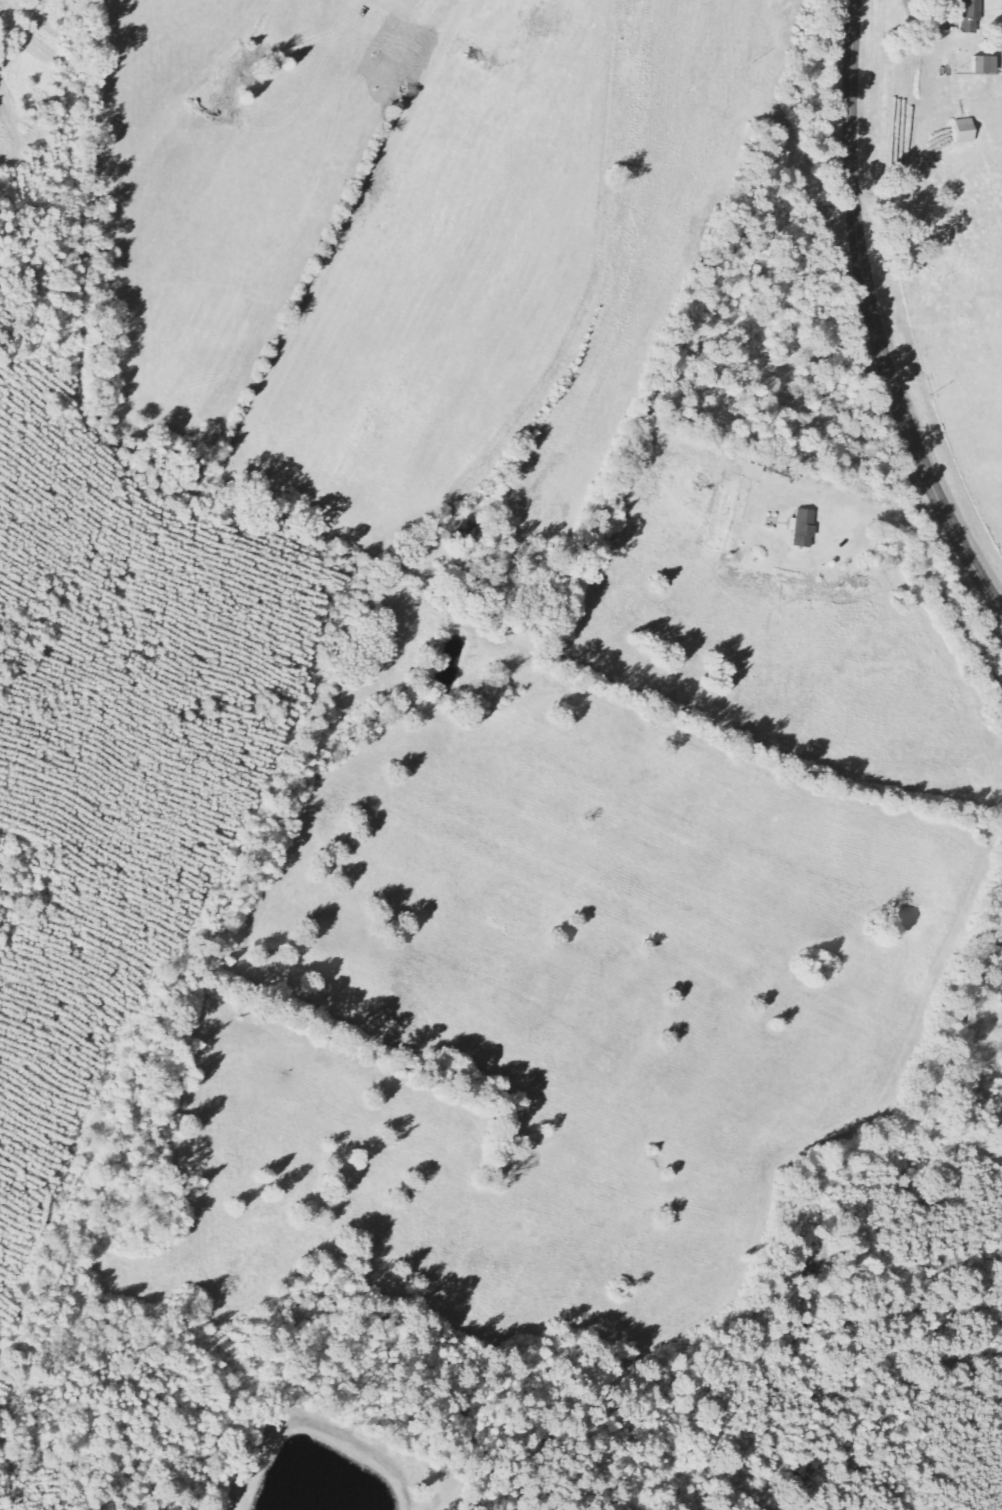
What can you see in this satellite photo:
building: (974, 15)
building: (988, 64)
building: (969, 130)
road: (875, 317)
building: (806, 528)

